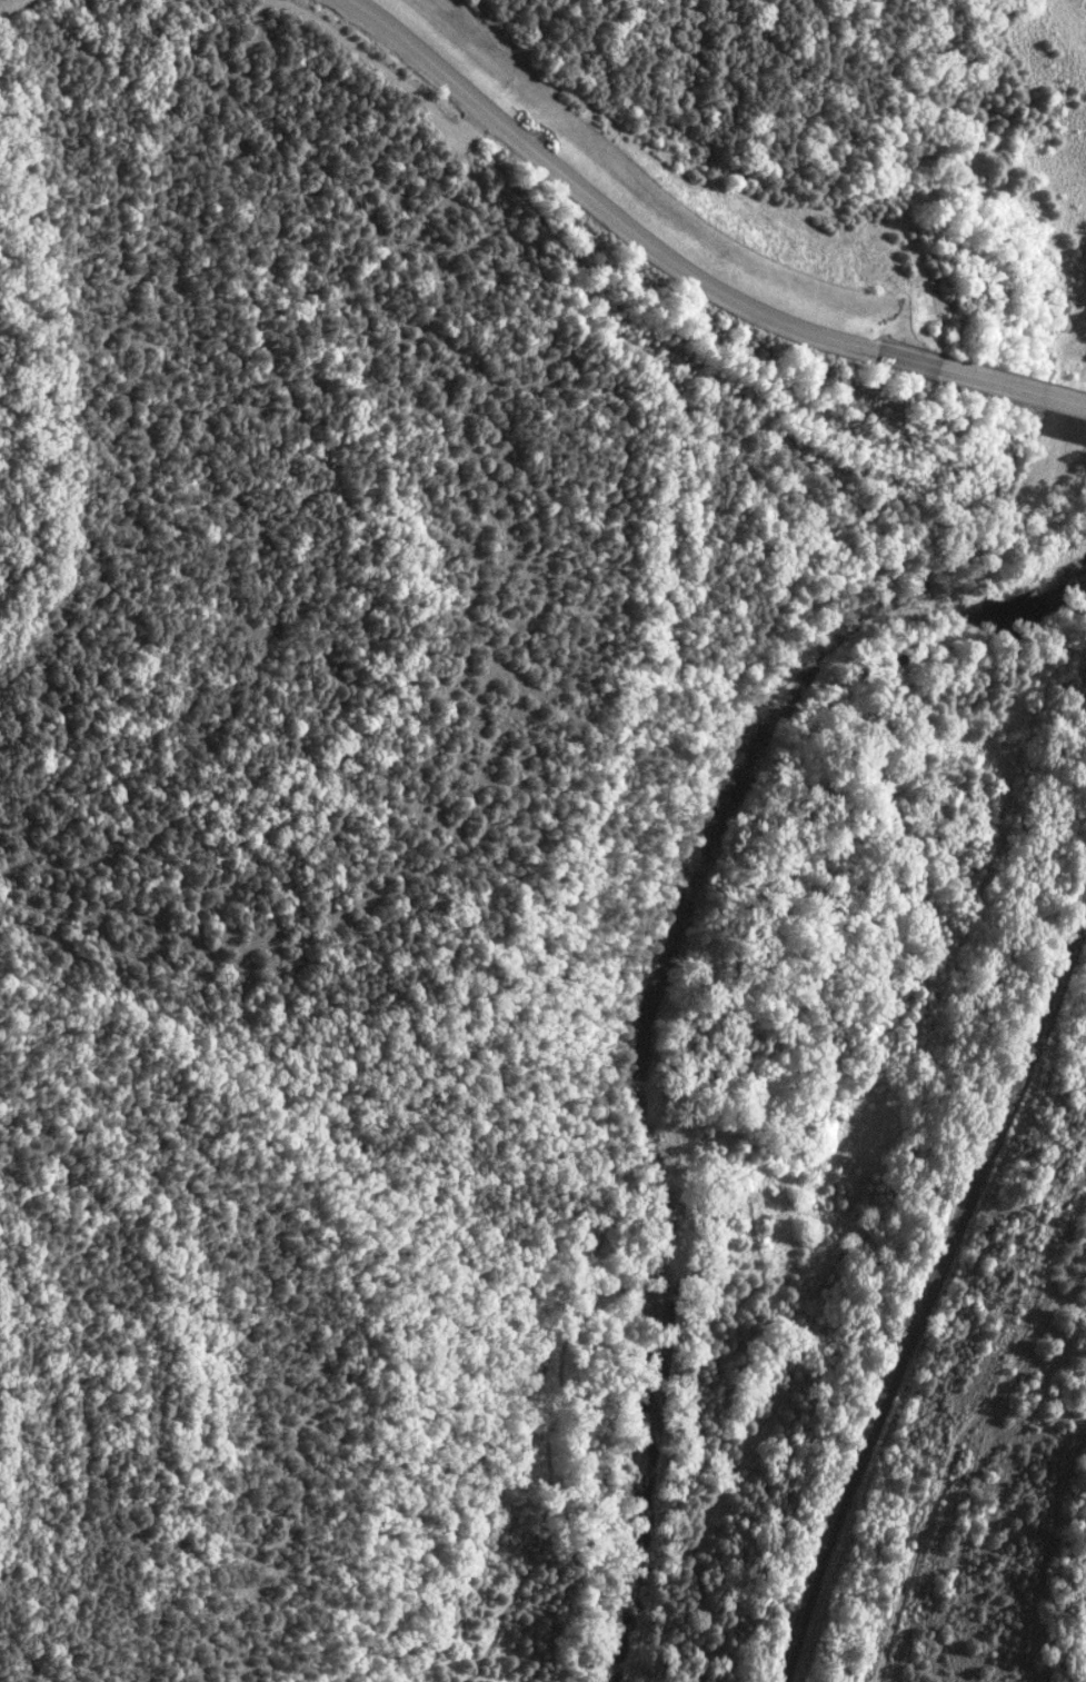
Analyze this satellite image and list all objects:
road: (668, 255)
road: (1062, 400)
railway: (933, 1288)

